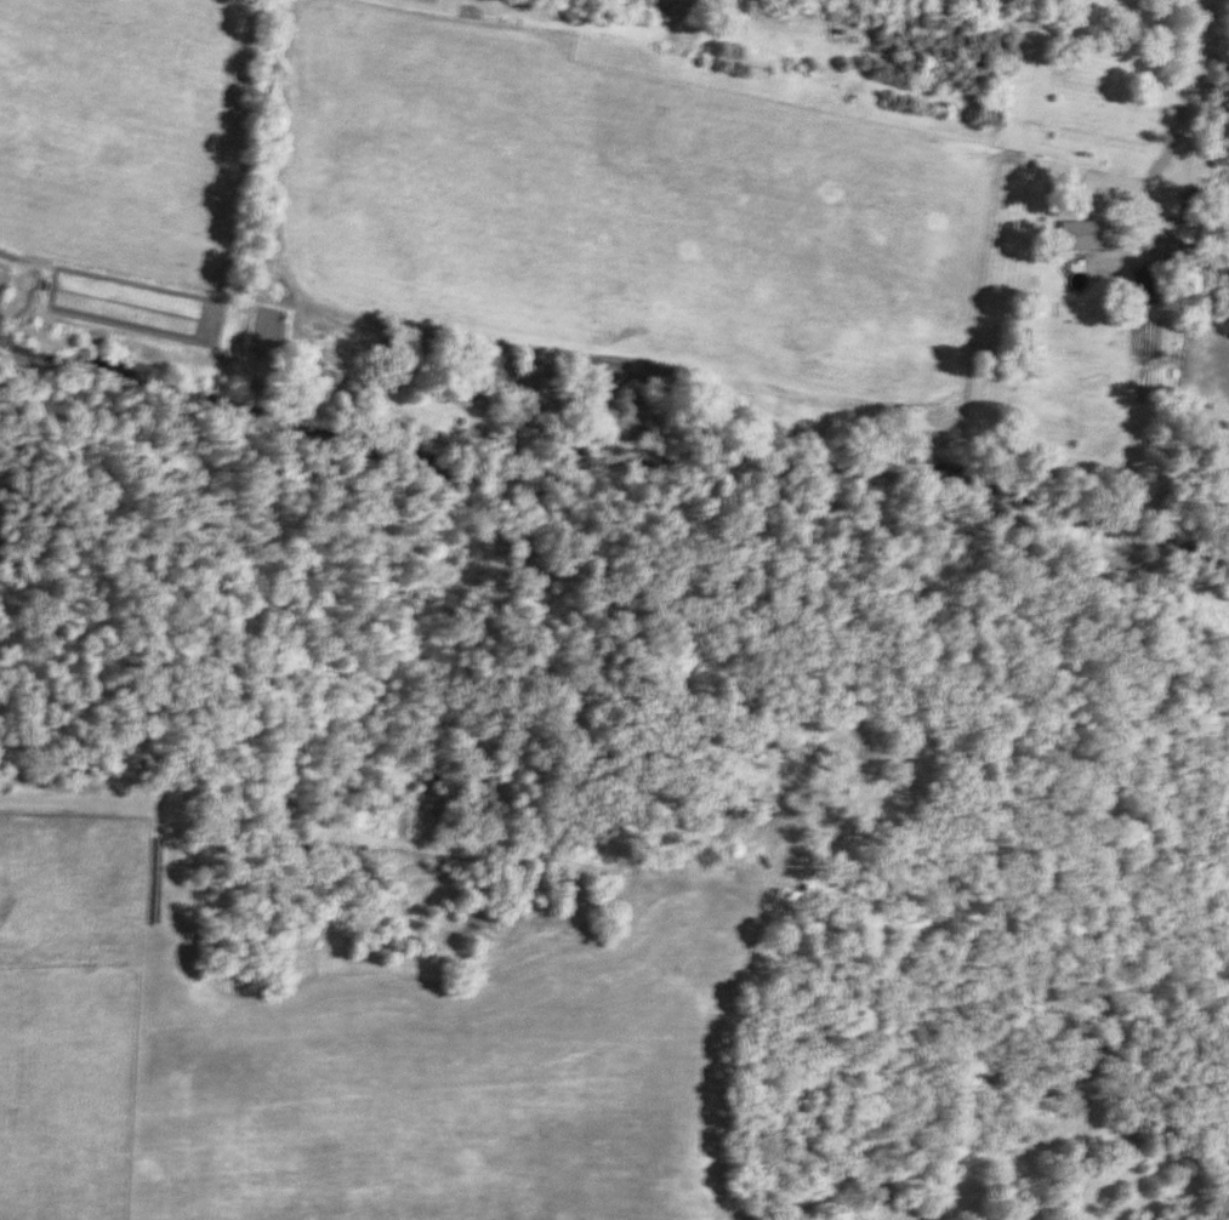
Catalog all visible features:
road: (1185, 109)
building: (1086, 234)
road: (1208, 286)

